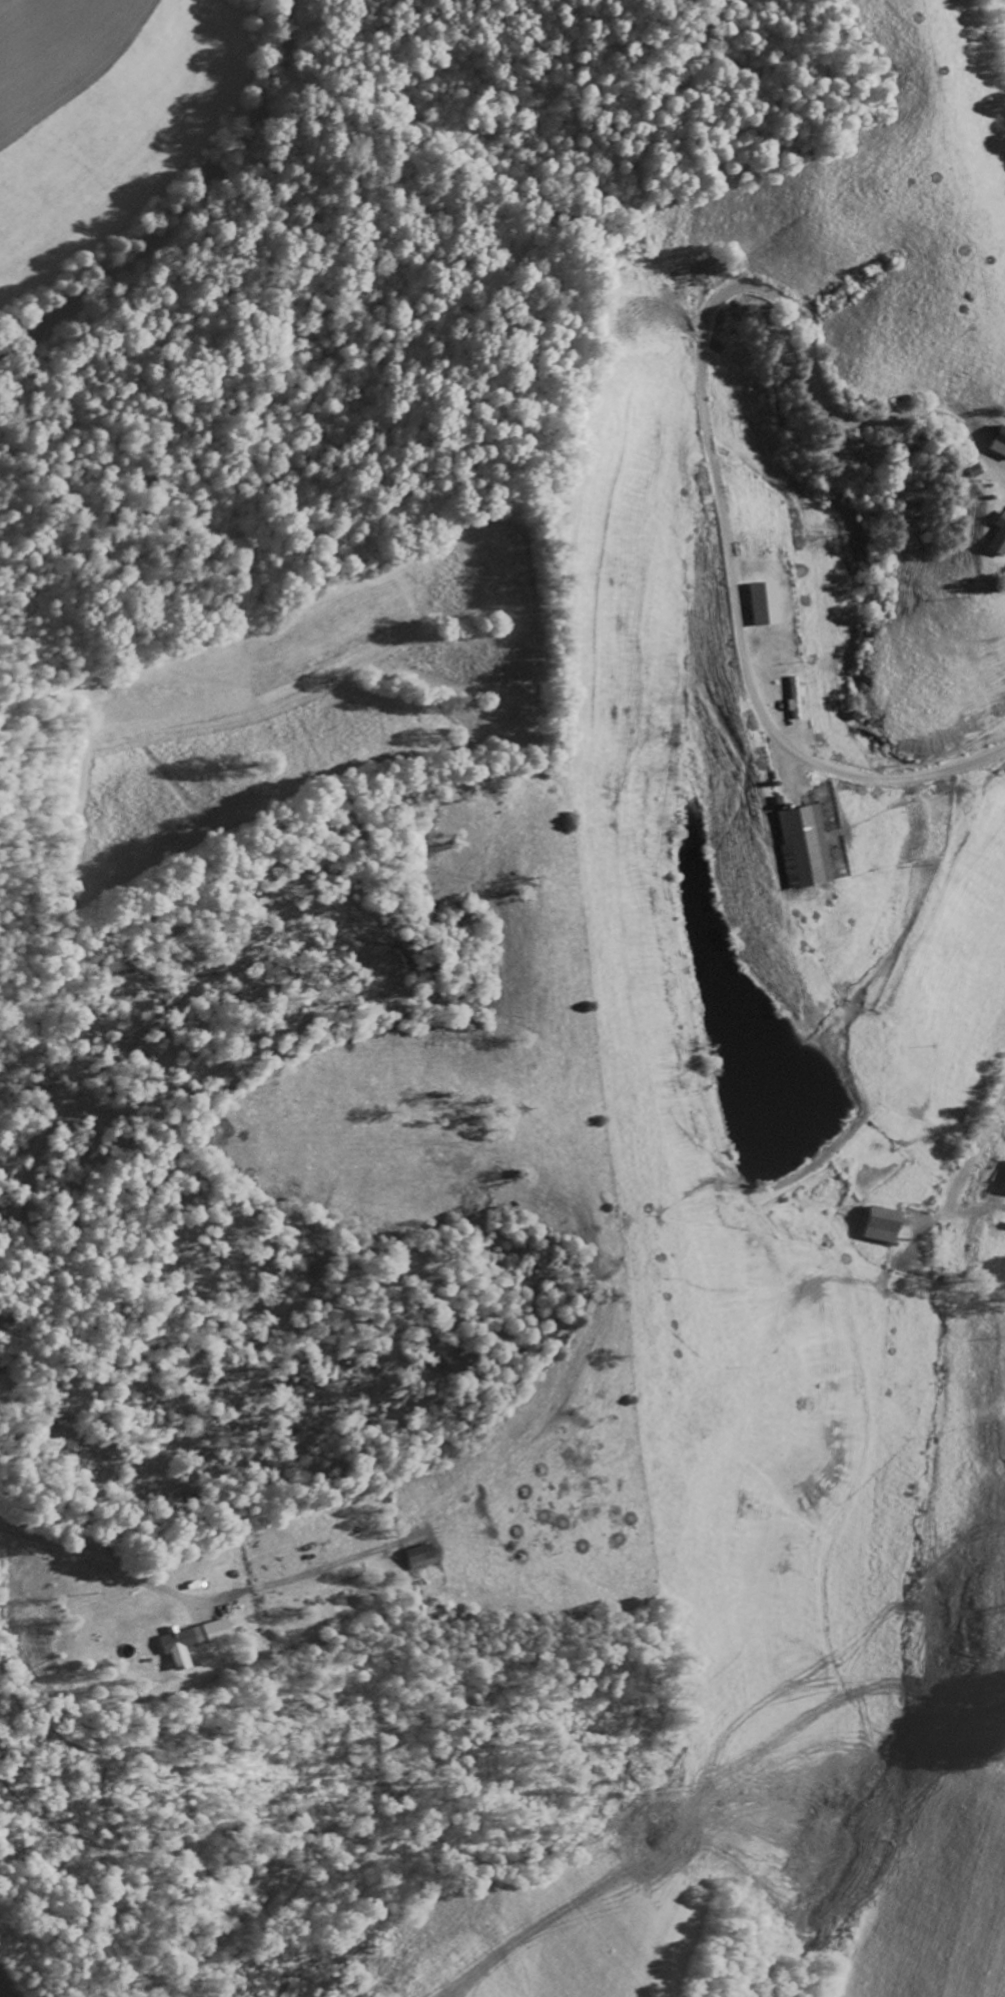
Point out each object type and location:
building: (998, 440)
building: (759, 602)
building: (793, 696)
building: (799, 845)
building: (882, 1224)
building: (419, 1556)
building: (191, 1640)
road: (738, 1793)
road: (3, 1992)

